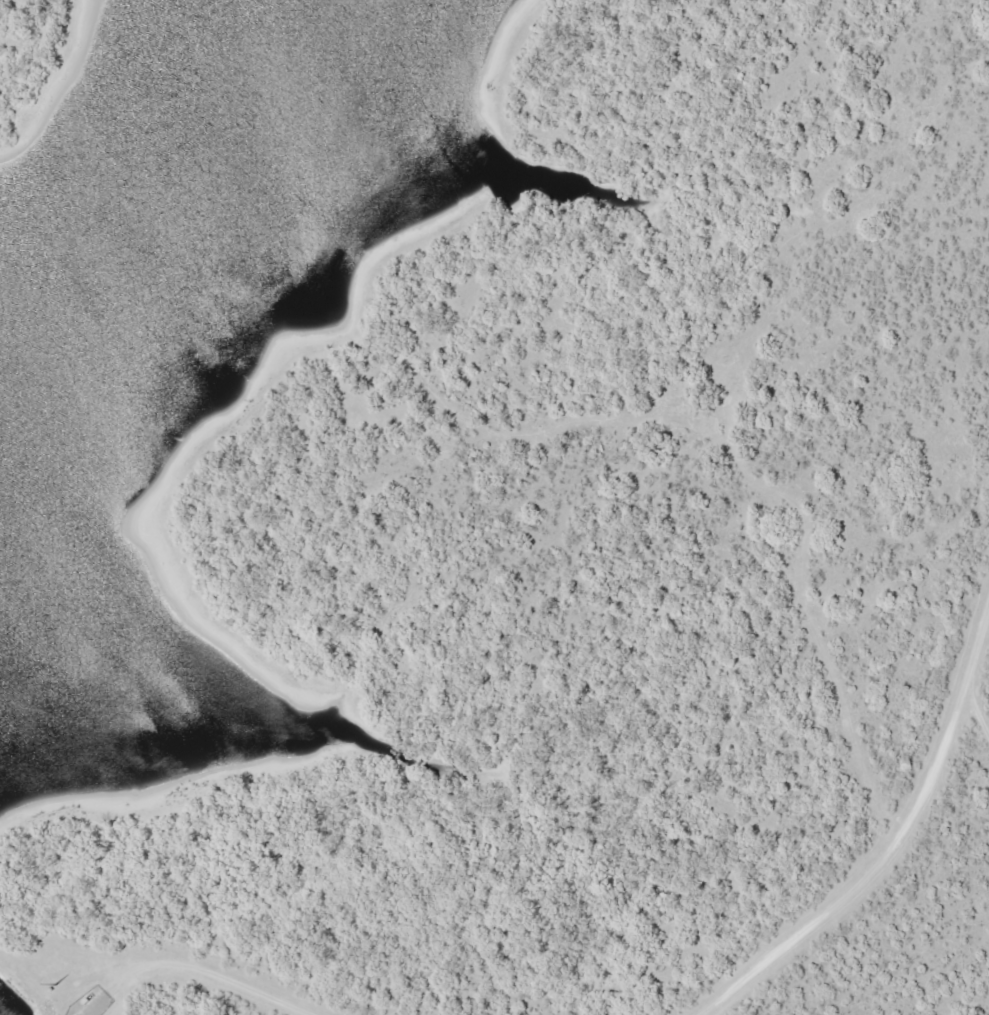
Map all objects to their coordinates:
road: (978, 709)
road: (897, 840)
road: (193, 971)

